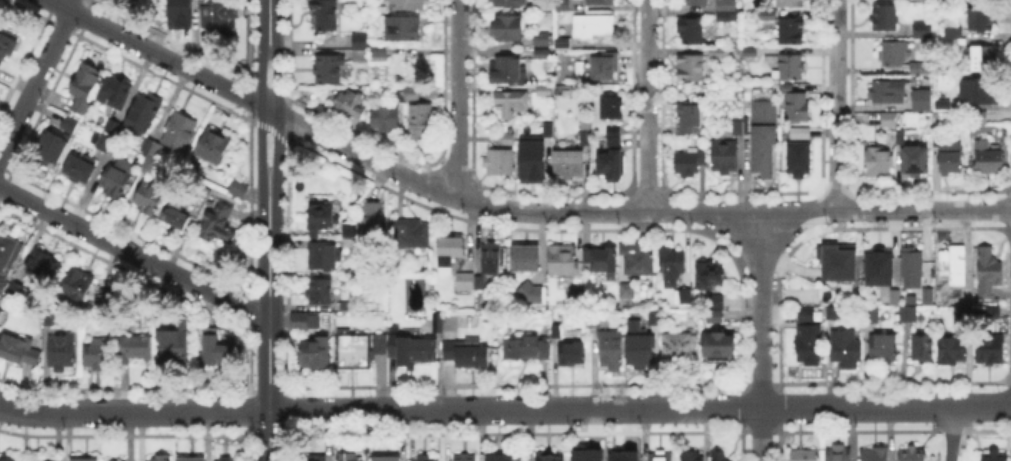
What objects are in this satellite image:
building: (924, 1)
building: (600, 2)
building: (697, 2)
building: (508, 3)
building: (789, 3)
building: (538, 4)
building: (410, 5)
building: (563, 5)
building: (726, 10)
building: (217, 16)
building: (326, 16)
building: (766, 16)
building: (884, 19)
building: (981, 20)
road: (270, 22)
building: (0, 26)
building: (594, 27)
building: (919, 27)
building: (404, 28)
building: (508, 30)
building: (791, 31)
building: (692, 32)
building: (952, 34)
building: (541, 39)
building: (358, 40)
building: (562, 43)
building: (5, 48)
building: (891, 51)
building: (751, 52)
building: (378, 53)
building: (720, 53)
building: (543, 54)
building: (361, 55)
building: (983, 56)
building: (792, 66)
building: (918, 66)
building: (605, 68)
building: (691, 69)
building: (329, 70)
building: (508, 72)
road: (36, 77)
building: (85, 88)
building: (787, 88)
building: (885, 90)
building: (976, 90)
building: (545, 92)
building: (399, 94)
building: (412, 94)
building: (114, 95)
building: (918, 98)
road: (458, 99)
building: (348, 101)
building: (511, 103)
road: (646, 105)
road: (837, 105)
building: (798, 106)
building: (612, 108)
building: (144, 112)
road: (261, 112)
road: (278, 112)
building: (765, 114)
building: (384, 117)
building: (980, 117)
building: (689, 121)
building: (889, 121)
building: (420, 123)
building: (70, 128)
building: (545, 128)
building: (737, 128)
building: (179, 131)
building: (613, 131)
building: (800, 134)
building: (900, 139)
building: (502, 140)
building: (101, 142)
building: (614, 142)
building: (51, 147)
building: (213, 148)
building: (149, 149)
building: (764, 154)
building: (725, 157)
building: (799, 159)
building: (987, 160)
building: (951, 161)
building: (878, 162)
building: (534, 163)
building: (500, 164)
building: (569, 164)
building: (688, 164)
building: (916, 164)
building: (611, 167)
building: (79, 169)
building: (115, 182)
building: (239, 192)
building: (149, 197)
road: (507, 209)
building: (370, 213)
building: (318, 215)
building: (177, 216)
building: (220, 223)
building: (346, 227)
building: (411, 233)
road: (132, 253)
building: (450, 253)
building: (325, 257)
building: (8, 258)
building: (526, 259)
building: (601, 259)
building: (493, 260)
building: (563, 261)
building: (393, 262)
building: (638, 262)
building: (837, 263)
building: (913, 264)
building: (956, 264)
building: (43, 265)
building: (879, 265)
building: (672, 267)
building: (989, 272)
building: (711, 276)
building: (466, 283)
building: (480, 283)
building: (76, 286)
building: (16, 291)
building: (626, 291)
building: (320, 292)
building: (531, 295)
building: (967, 297)
building: (685, 298)
building: (894, 299)
building: (926, 299)
building: (660, 301)
building: (717, 302)
building: (345, 308)
building: (989, 310)
building: (832, 313)
building: (711, 314)
building: (810, 315)
building: (909, 315)
building: (962, 315)
building: (630, 316)
building: (875, 316)
building: (715, 319)
road: (266, 320)
building: (194, 321)
building: (180, 322)
building: (303, 324)
building: (436, 324)
building: (555, 329)
road: (760, 335)
building: (377, 342)
building: (811, 345)
building: (173, 348)
building: (409, 348)
building: (677, 348)
building: (922, 348)
building: (135, 349)
building: (351, 349)
building: (527, 349)
building: (883, 349)
building: (18, 350)
building: (216, 350)
building: (718, 350)
building: (845, 350)
building: (611, 351)
building: (952, 352)
building: (990, 352)
building: (641, 353)
building: (61, 354)
building: (100, 355)
building: (467, 355)
building: (572, 355)
building: (310, 357)
road: (639, 408)
road: (133, 411)
road: (951, 433)
building: (585, 452)
building: (839, 453)
building: (912, 453)
building: (805, 454)
building: (875, 454)
building: (621, 455)
building: (661, 455)
building: (991, 456)
building: (350, 457)
building: (693, 457)
building: (721, 457)
building: (159, 458)
building: (386, 458)
building: (465, 458)
building: (501, 458)
building: (550, 458)
building: (85, 459)
building: (313, 459)
building: (8, 460)
building: (46, 460)
building: (116, 460)
building: (193, 460)
building: (227, 460)
building: (428, 460)

